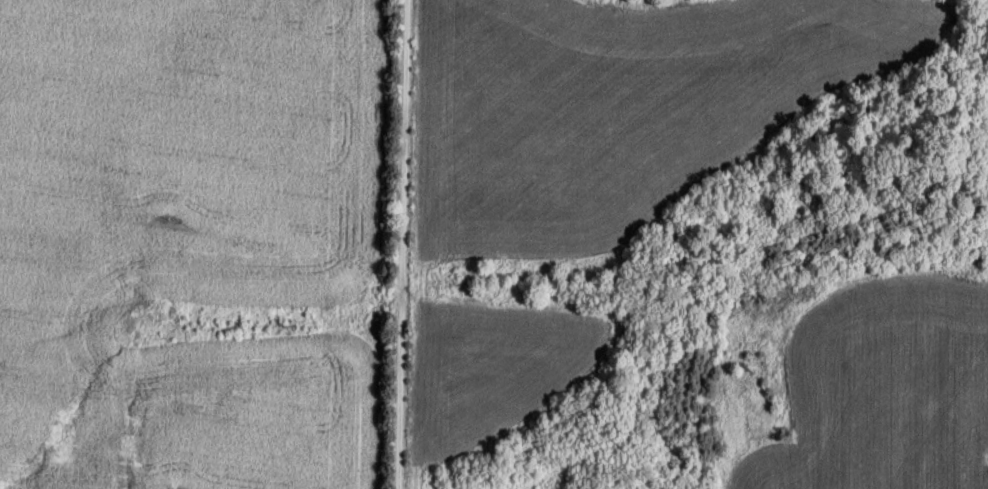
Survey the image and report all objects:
road: (403, 244)

